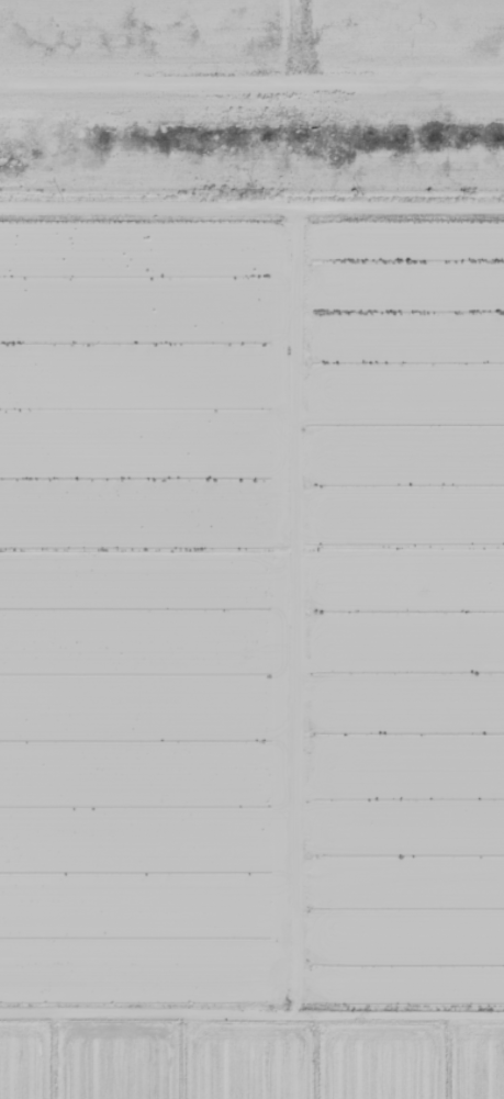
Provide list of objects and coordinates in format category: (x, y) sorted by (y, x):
airport: (251, 97)
road: (251, 206)
road: (267, 652)
road: (251, 762)
crop: (249, 1059)

